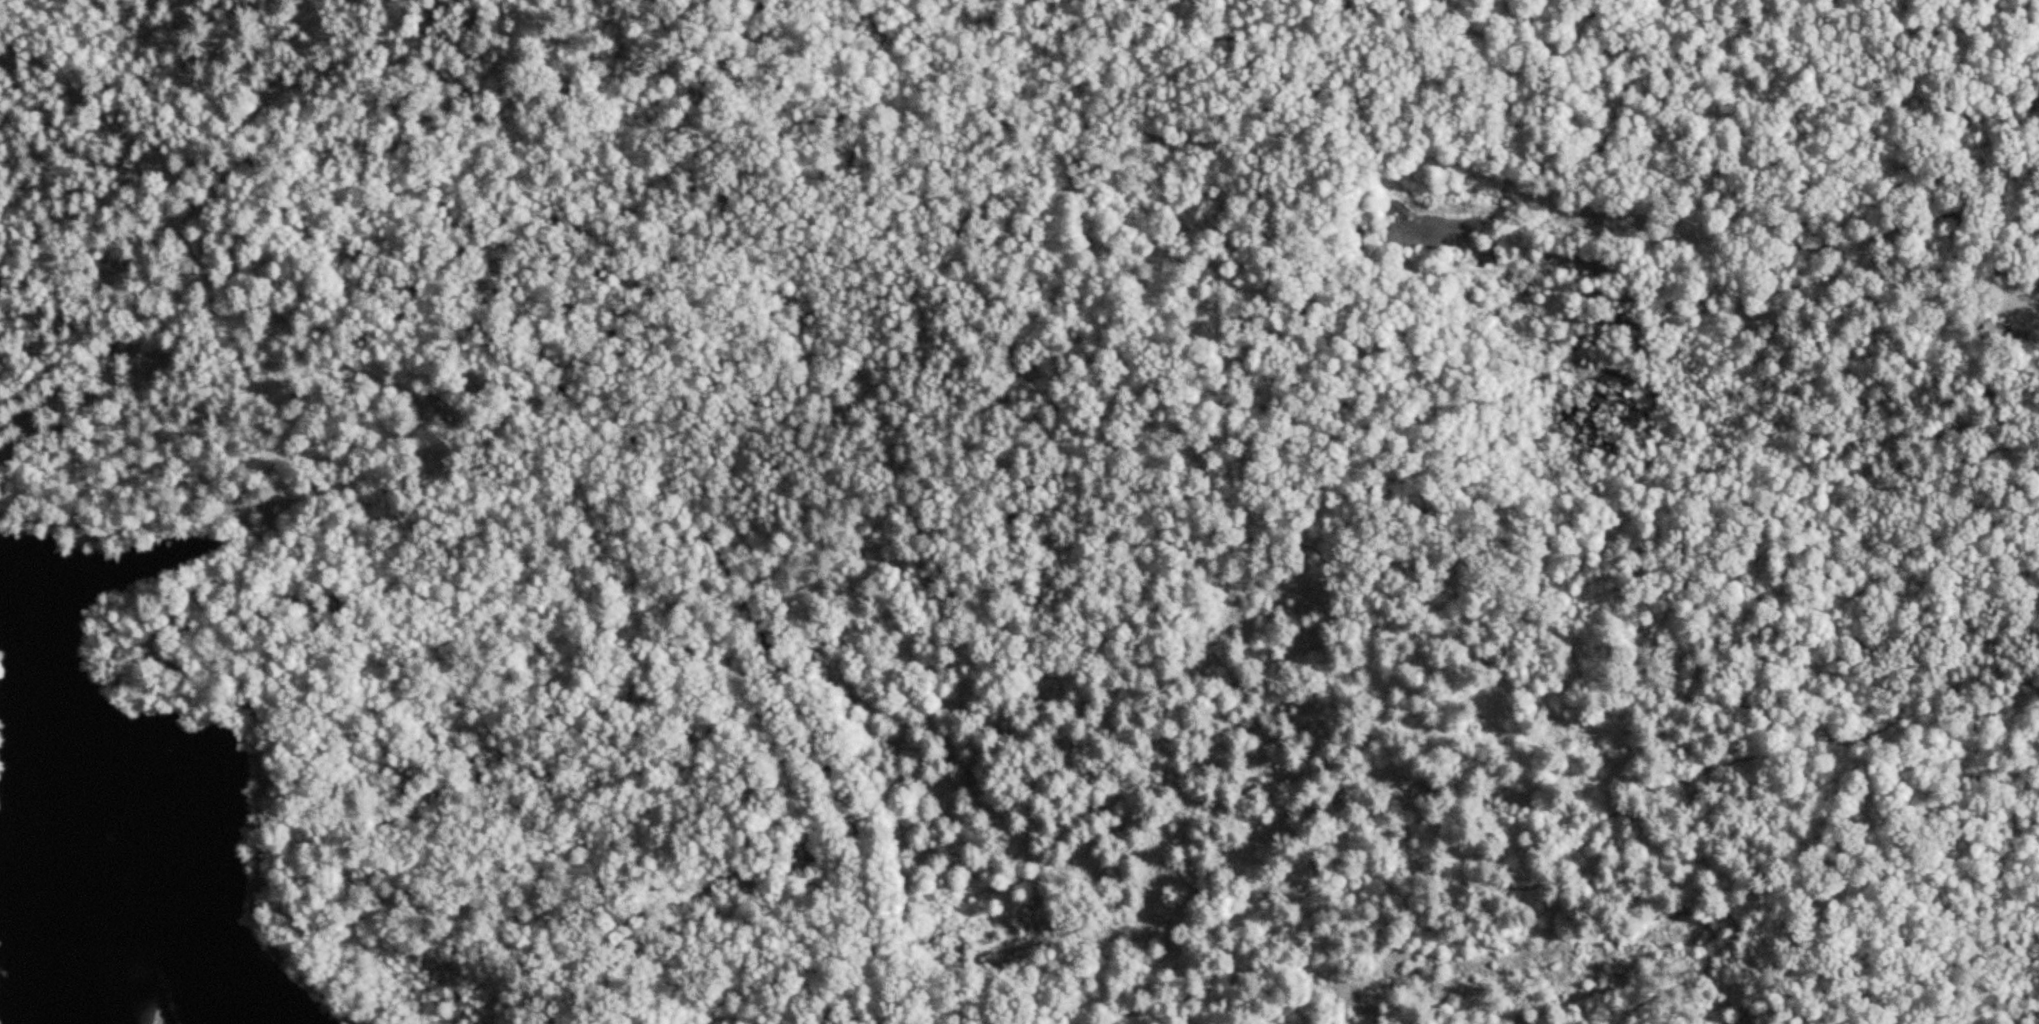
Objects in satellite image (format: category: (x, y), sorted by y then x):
building: (2004, 332)

